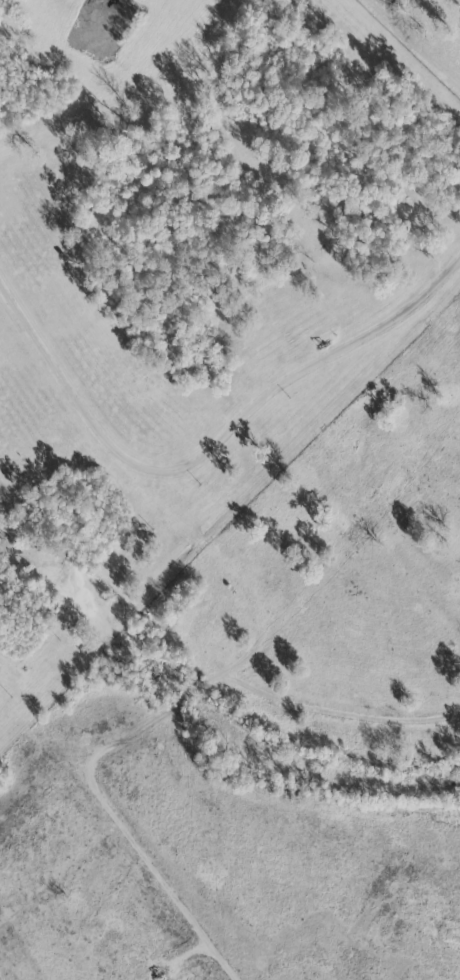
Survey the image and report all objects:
road: (409, 50)
road: (147, 101)
road: (300, 373)
road: (202, 548)
road: (334, 714)
road: (127, 835)

